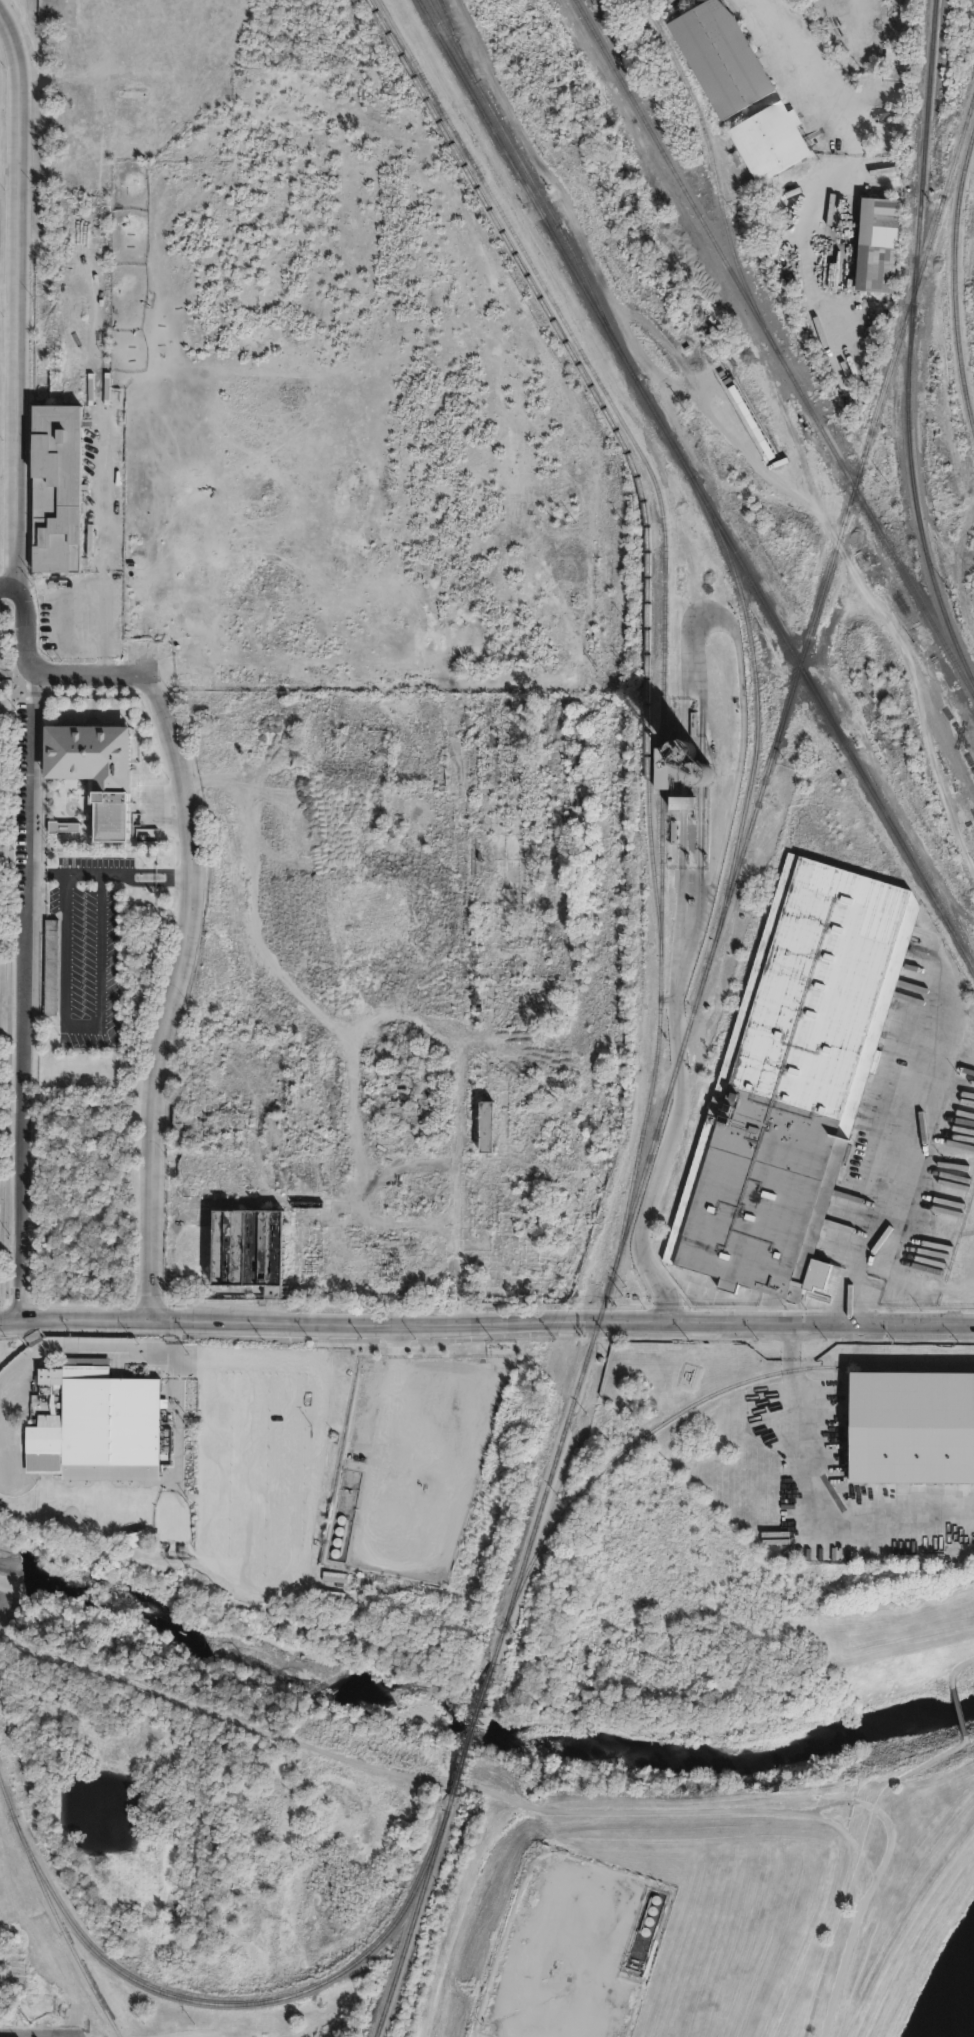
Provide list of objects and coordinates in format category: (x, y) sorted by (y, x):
railway: (443, 3)
railway: (451, 23)
building: (718, 57)
building: (896, 64)
road: (794, 67)
building: (886, 68)
building: (767, 141)
railway: (530, 172)
railway: (921, 197)
building: (869, 247)
railway: (958, 283)
road: (15, 298)
railway: (773, 347)
railway: (584, 371)
building: (743, 416)
building: (56, 485)
railway: (695, 486)
railway: (923, 544)
road: (5, 586)
railway: (663, 601)
road: (84, 675)
building: (471, 702)
railway: (758, 726)
building: (96, 775)
building: (63, 830)
railway: (652, 872)
road: (76, 874)
road: (124, 875)
railway: (732, 884)
building: (539, 938)
road: (26, 949)
building: (51, 967)
road: (175, 986)
building: (442, 992)
building: (346, 993)
building: (532, 1002)
building: (492, 1009)
road: (79, 1022)
building: (788, 1077)
building: (249, 1079)
building: (489, 1117)
road: (670, 1133)
building: (565, 1134)
road: (888, 1159)
building: (428, 1235)
building: (251, 1251)
road: (486, 1323)
road: (28, 1335)
road: (327, 1340)
road: (43, 1347)
road: (394, 1388)
railway: (696, 1397)
road: (183, 1416)
building: (911, 1428)
building: (100, 1429)
road: (805, 1495)
road: (308, 1532)
road: (956, 1668)
road: (959, 1711)
railway: (472, 1728)
road: (432, 1778)
railway: (9, 1806)
railway: (446, 1812)
road: (858, 1864)
railway: (406, 1933)
railway: (64, 1936)
railway: (231, 2003)
river: (969, 2026)
road: (41, 2034)

